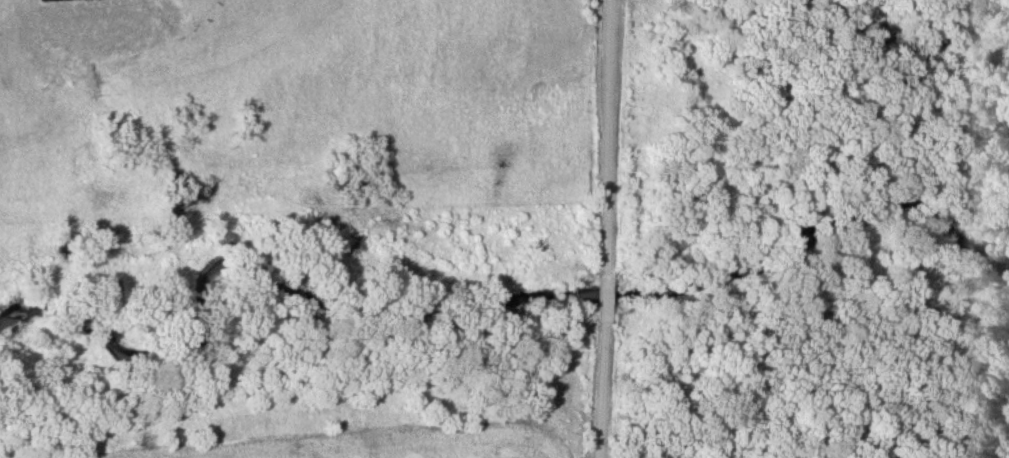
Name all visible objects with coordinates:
road: (611, 228)

